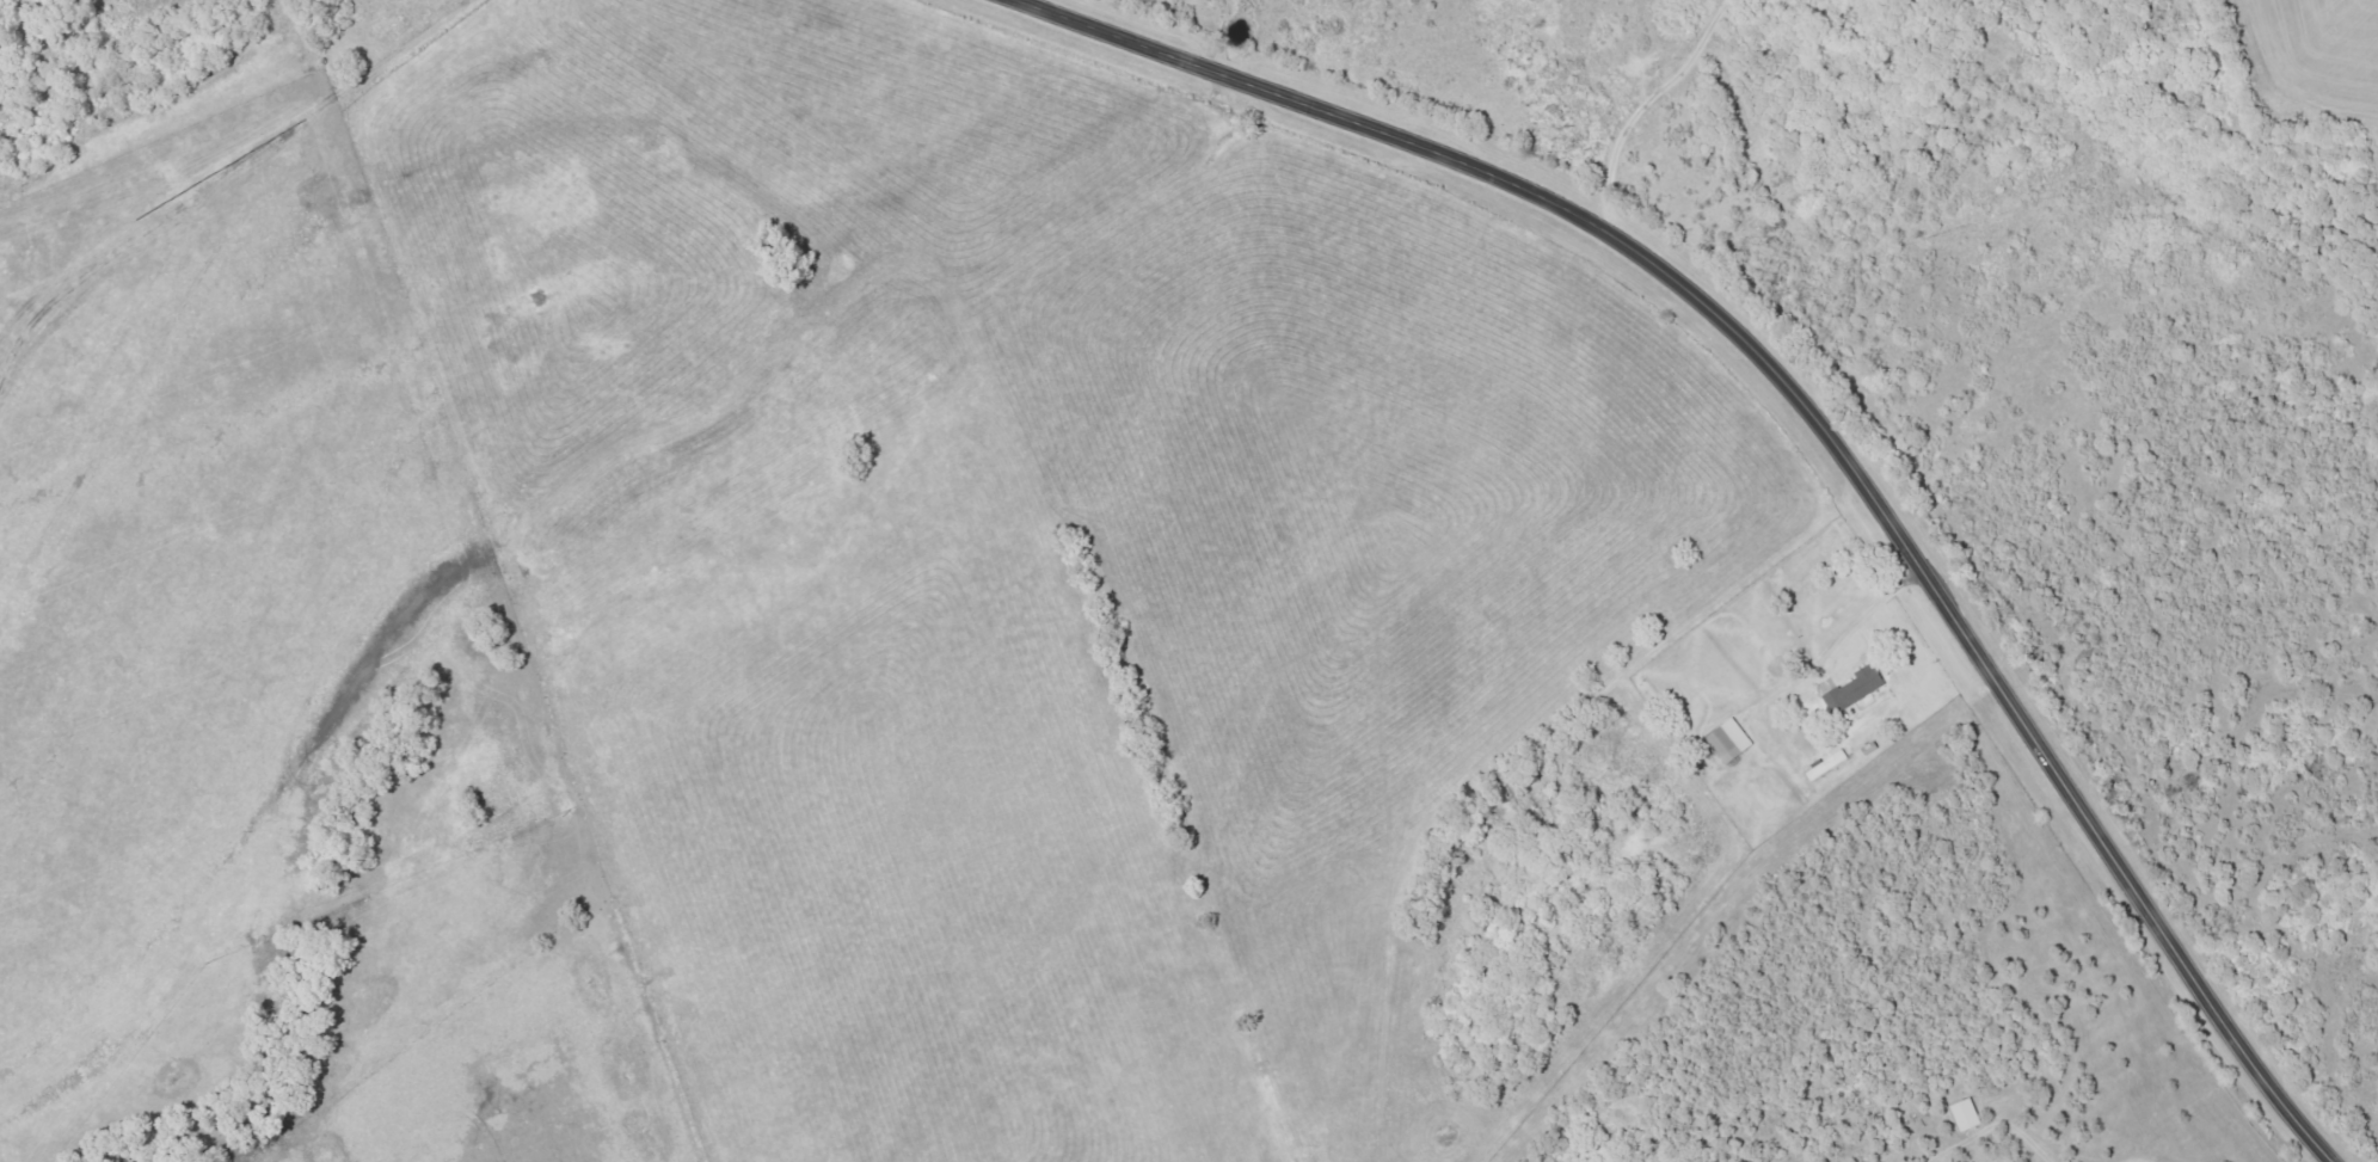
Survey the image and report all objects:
road: (1813, 417)
building: (1854, 688)
building: (1727, 740)
building: (1964, 1114)

